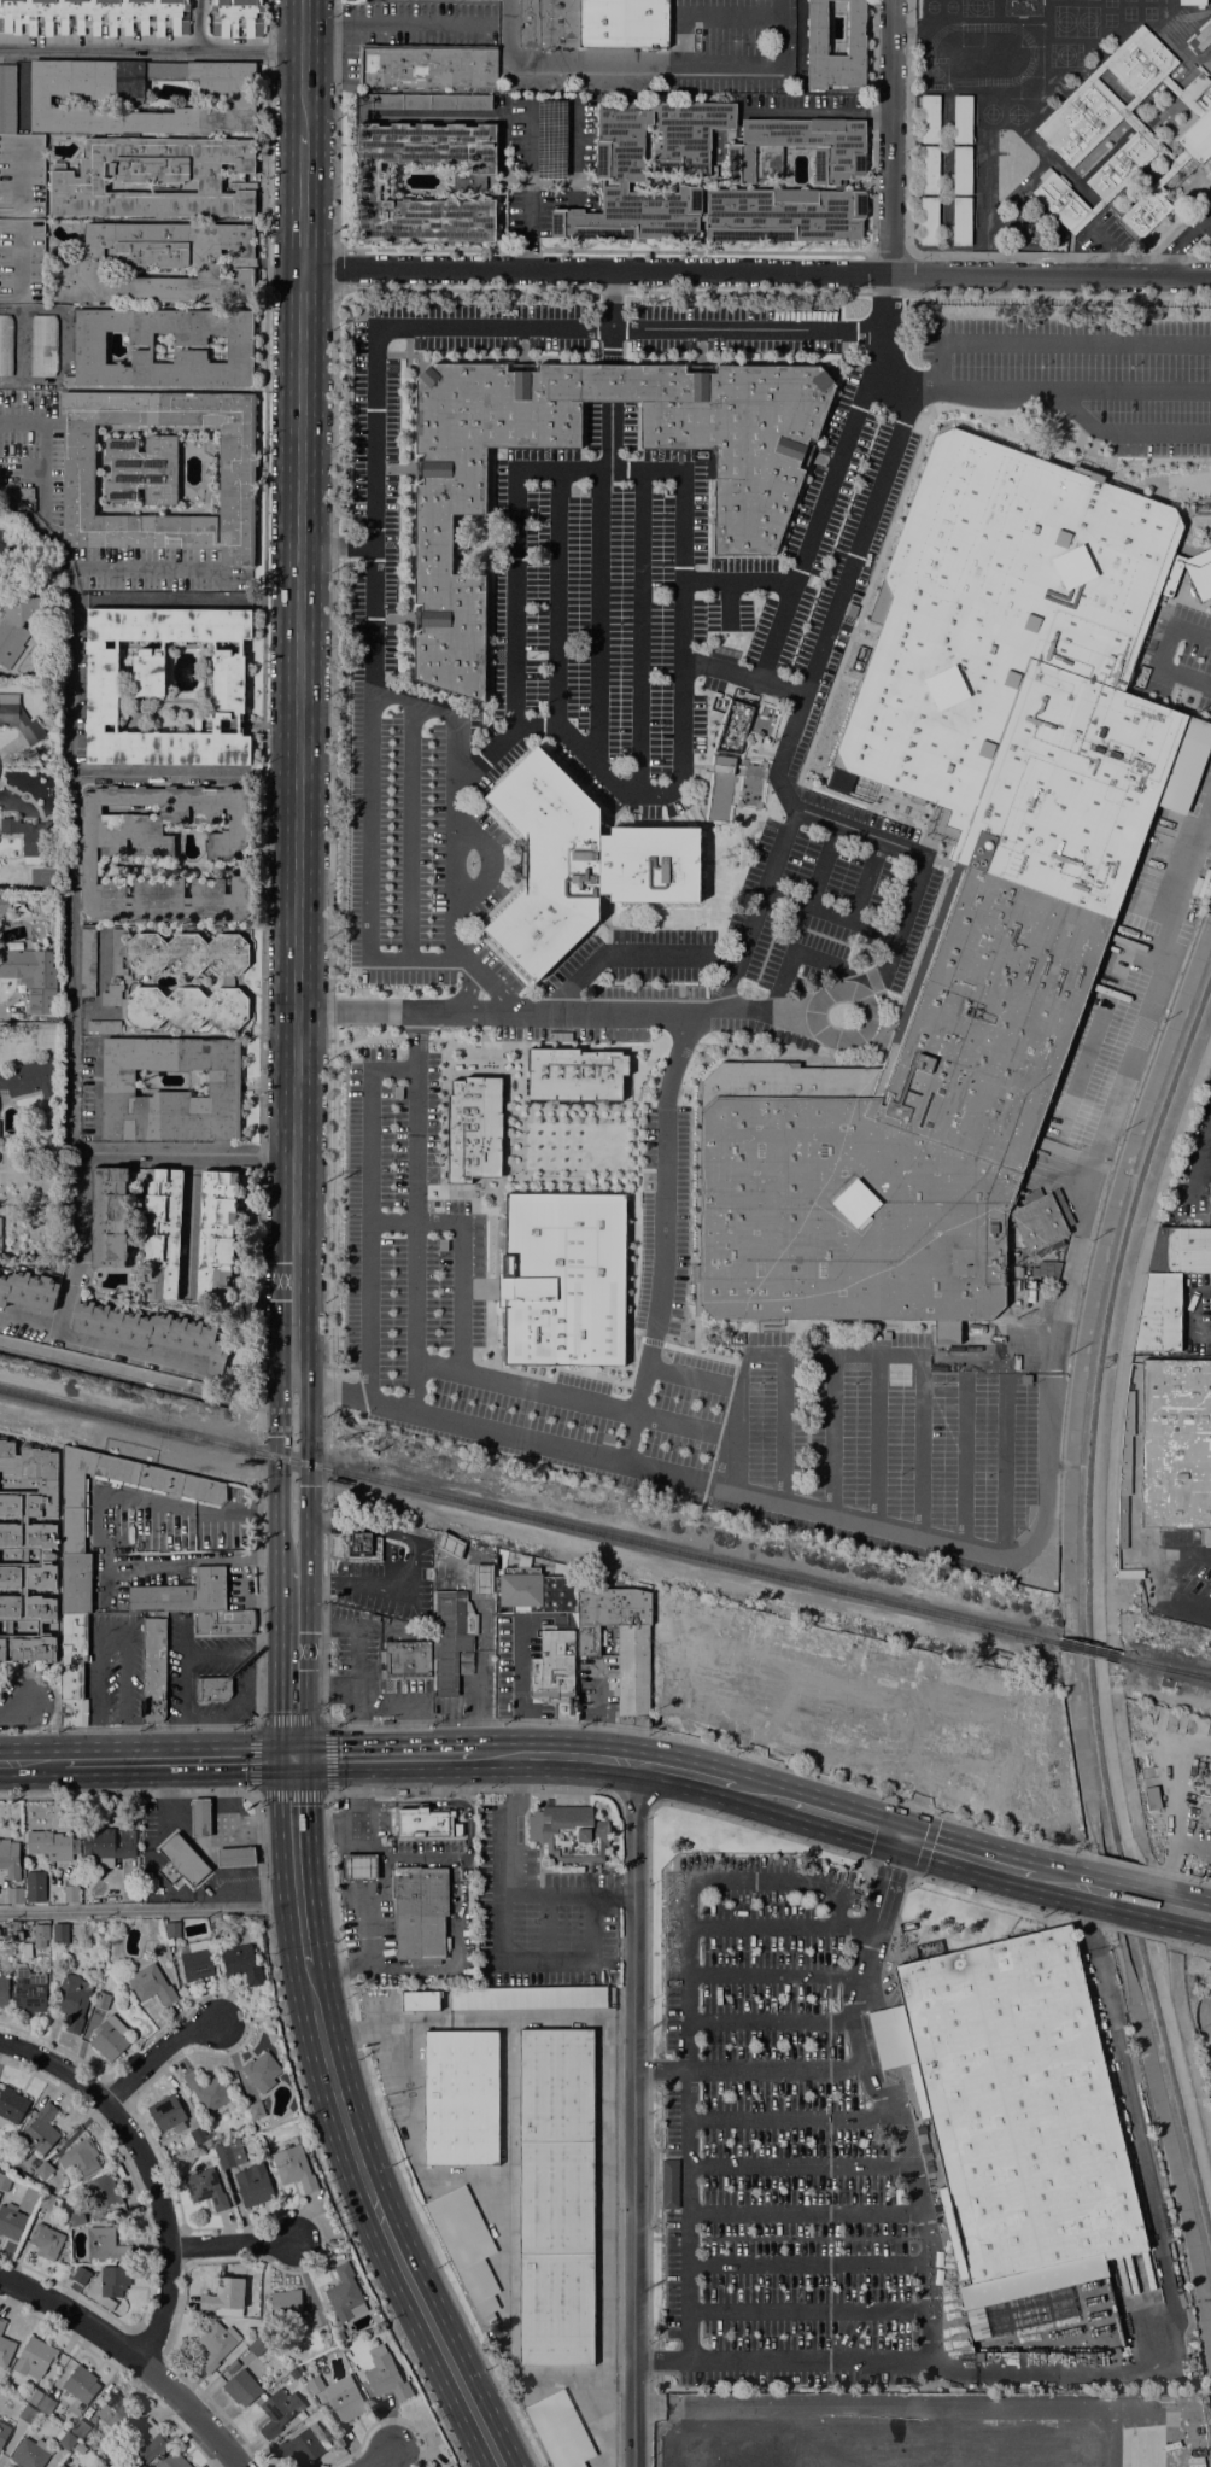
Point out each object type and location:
building: (1192, 2)
building: (94, 16)
building: (236, 18)
building: (549, 23)
building: (624, 23)
road: (396, 24)
road: (197, 25)
building: (1200, 39)
building: (818, 46)
road: (151, 51)
road: (645, 64)
building: (427, 66)
road: (302, 68)
building: (1170, 84)
building: (140, 95)
building: (1105, 95)
building: (7, 98)
road: (455, 116)
building: (930, 119)
building: (963, 119)
building: (1198, 129)
road: (889, 136)
road: (573, 142)
building: (1156, 147)
building: (754, 162)
building: (1119, 166)
building: (484, 168)
building: (929, 170)
building: (961, 170)
building: (22, 176)
building: (154, 177)
road: (552, 181)
building: (695, 186)
road: (531, 187)
road: (302, 201)
building: (1063, 203)
building: (1098, 205)
building: (1146, 210)
building: (929, 220)
building: (961, 220)
road: (1181, 242)
road: (604, 251)
road: (934, 255)
building: (22, 261)
building: (157, 263)
road: (335, 269)
road: (756, 271)
road: (609, 317)
building: (5, 345)
building: (42, 345)
road: (1058, 345)
building: (89, 347)
building: (929, 352)
road: (609, 382)
road: (907, 386)
road: (1080, 391)
road: (609, 405)
road: (373, 410)
road: (1130, 434)
road: (610, 439)
road: (41, 452)
building: (142, 469)
building: (236, 469)
road: (561, 469)
road: (829, 479)
building: (27, 492)
building: (748, 533)
road: (335, 544)
building: (7, 546)
road: (140, 567)
road: (735, 584)
road: (555, 598)
road: (727, 602)
road: (597, 616)
road: (642, 631)
building: (11, 641)
road: (1163, 654)
road: (815, 663)
road: (742, 677)
building: (163, 685)
road: (444, 712)
building: (738, 714)
building: (18, 718)
building: (732, 733)
road: (419, 758)
building: (722, 765)
road: (185, 774)
road: (297, 803)
building: (35, 840)
building: (163, 854)
road: (454, 858)
road: (375, 863)
building: (578, 863)
road: (489, 865)
road: (821, 866)
road: (865, 881)
building: (964, 894)
building: (4, 905)
road: (372, 908)
road: (69, 914)
road: (831, 917)
road: (417, 935)
road: (630, 952)
road: (801, 952)
building: (179, 953)
building: (87, 961)
road: (262, 961)
road: (329, 963)
building: (24, 966)
building: (227, 981)
road: (484, 982)
road: (859, 983)
building: (179, 1006)
road: (613, 1012)
building: (103, 1025)
road: (411, 1040)
building: (574, 1075)
building: (28, 1078)
building: (223, 1081)
building: (473, 1129)
road: (1200, 1162)
road: (1088, 1177)
building: (1210, 1199)
road: (368, 1214)
building: (109, 1217)
road: (191, 1220)
building: (0, 1221)
building: (162, 1233)
building: (215, 1235)
road: (661, 1237)
road: (415, 1239)
road: (458, 1253)
road: (75, 1270)
building: (1043, 1270)
building: (1018, 1272)
building: (562, 1279)
building: (1016, 1285)
building: (1169, 1285)
building: (28, 1290)
road: (1190, 1311)
building: (151, 1332)
road: (128, 1350)
road: (876, 1354)
road: (765, 1358)
building: (971, 1362)
building: (1024, 1379)
road: (522, 1390)
road: (502, 1433)
traffic signals: (276, 1436)
road: (833, 1436)
road: (876, 1440)
road: (919, 1445)
road: (1111, 1445)
building: (1176, 1446)
road: (276, 1449)
road: (308, 1449)
road: (963, 1468)
building: (1124, 1469)
traffic signals: (309, 1486)
building: (72, 1502)
railway: (527, 1516)
road: (100, 1530)
road: (930, 1539)
building: (356, 1544)
building: (450, 1545)
building: (43, 1549)
building: (522, 1560)
building: (560, 1568)
building: (1129, 1573)
building: (482, 1579)
road: (1163, 1579)
building: (75, 1583)
road: (374, 1589)
building: (533, 1591)
building: (182, 1594)
building: (223, 1621)
building: (450, 1636)
building: (620, 1643)
railway: (1088, 1649)
road: (186, 1652)
road: (293, 1658)
building: (406, 1659)
building: (552, 1666)
building: (72, 1667)
railway: (1165, 1667)
building: (153, 1670)
railway: (1188, 1672)
road: (45, 1679)
building: (212, 1688)
road: (355, 1689)
road: (118, 1691)
road: (323, 1697)
road: (14, 1706)
road: (326, 1721)
road: (355, 1726)
road: (28, 1730)
road: (551, 1753)
road: (380, 1755)
traffic signals: (293, 1756)
road: (179, 1759)
road: (31, 1761)
road: (684, 1771)
road: (516, 1784)
road: (762, 1794)
road: (633, 1797)
building: (1152, 1799)
road: (440, 1804)
building: (1204, 1813)
building: (200, 1817)
road: (846, 1818)
building: (425, 1823)
road: (326, 1825)
road: (359, 1825)
building: (568, 1835)
traffic signals: (901, 1835)
building: (52, 1845)
building: (107, 1845)
road: (374, 1852)
road: (966, 1854)
building: (235, 1855)
building: (10, 1858)
road: (425, 1858)
road: (293, 1860)
building: (182, 1861)
road: (1118, 1861)
road: (915, 1865)
building: (359, 1866)
gas station: (359, 1866)
road: (1175, 1873)
road: (1063, 1881)
road: (1156, 1881)
building: (35, 1886)
road: (1099, 1889)
building: (70, 1893)
building: (14, 1894)
road: (560, 1896)
road: (625, 1896)
road: (1128, 1896)
road: (1012, 1904)
road: (1157, 1904)
road: (148, 1910)
road: (1186, 1911)
building: (420, 1913)
road: (1086, 1917)
road: (762, 1927)
road: (842, 1927)
building: (218, 1928)
road: (1168, 1928)
road: (367, 1929)
road: (550, 1929)
building: (171, 1930)
building: (41, 1931)
building: (59, 1933)
road: (1136, 1934)
road: (1186, 1945)
building: (27, 1949)
building: (195, 1959)
building: (241, 1963)
road: (504, 1963)
road: (338, 1966)
road: (773, 1975)
building: (151, 1984)
building: (29, 1988)
building: (4, 1990)
building: (72, 2000)
building: (101, 2000)
road: (347, 2004)
airport: (1200, 2007)
road: (277, 2018)
road: (246, 2019)
road: (770, 2022)
road: (648, 2023)
building: (109, 2038)
road: (1188, 2050)
building: (261, 2070)
road: (777, 2070)
road: (661, 2073)
building: (207, 2089)
road: (882, 2093)
road: (110, 2094)
building: (11, 2105)
building: (255, 2110)
building: (165, 2111)
road: (634, 2114)
building: (1014, 2115)
road: (791, 2118)
building: (39, 2130)
building: (198, 2135)
parking lot: (774, 2146)
building: (230, 2153)
building: (250, 2155)
building: (78, 2158)
road: (688, 2165)
road: (798, 2167)
building: (293, 2168)
building: (43, 2170)
building: (4, 2181)
building: (517, 2181)
building: (669, 2184)
building: (253, 2185)
building: (205, 2188)
building: (101, 2190)
road: (616, 2198)
building: (46, 2200)
building: (17, 2214)
road: (805, 2214)
building: (75, 2217)
road: (382, 2222)
road: (164, 2225)
road: (213, 2228)
road: (321, 2237)
building: (48, 2241)
road: (232, 2243)
building: (105, 2244)
road: (808, 2263)
road: (1163, 2268)
building: (80, 2275)
building: (107, 2285)
building: (224, 2294)
building: (345, 2294)
building: (286, 2303)
road: (599, 2307)
road: (69, 2310)
road: (808, 2311)
building: (317, 2316)
building: (1, 2323)
building: (339, 2334)
building: (216, 2344)
building: (257, 2346)
building: (5, 2350)
building: (978, 2356)
building: (34, 2357)
road: (661, 2362)
building: (293, 2373)
building: (385, 2374)
building: (889, 2375)
building: (907, 2377)
building: (897, 2378)
road: (616, 2380)
building: (81, 2384)
building: (315, 2384)
building: (241, 2387)
building: (33, 2396)
building: (347, 2403)
building: (46, 2404)
road: (188, 2408)
building: (277, 2412)
building: (27, 2413)
building: (116, 2413)
road: (382, 2418)
road: (616, 2427)
building: (80, 2428)
building: (4, 2432)
road: (414, 2434)
building: (64, 2439)
building: (144, 2443)
building: (303, 2444)
building: (80, 2448)
building: (31, 2453)
road: (376, 2457)
building: (172, 2461)
building: (112, 2462)
building: (103, 2465)
building: (60, 2466)
building: (75, 2466)
building: (447, 2466)

